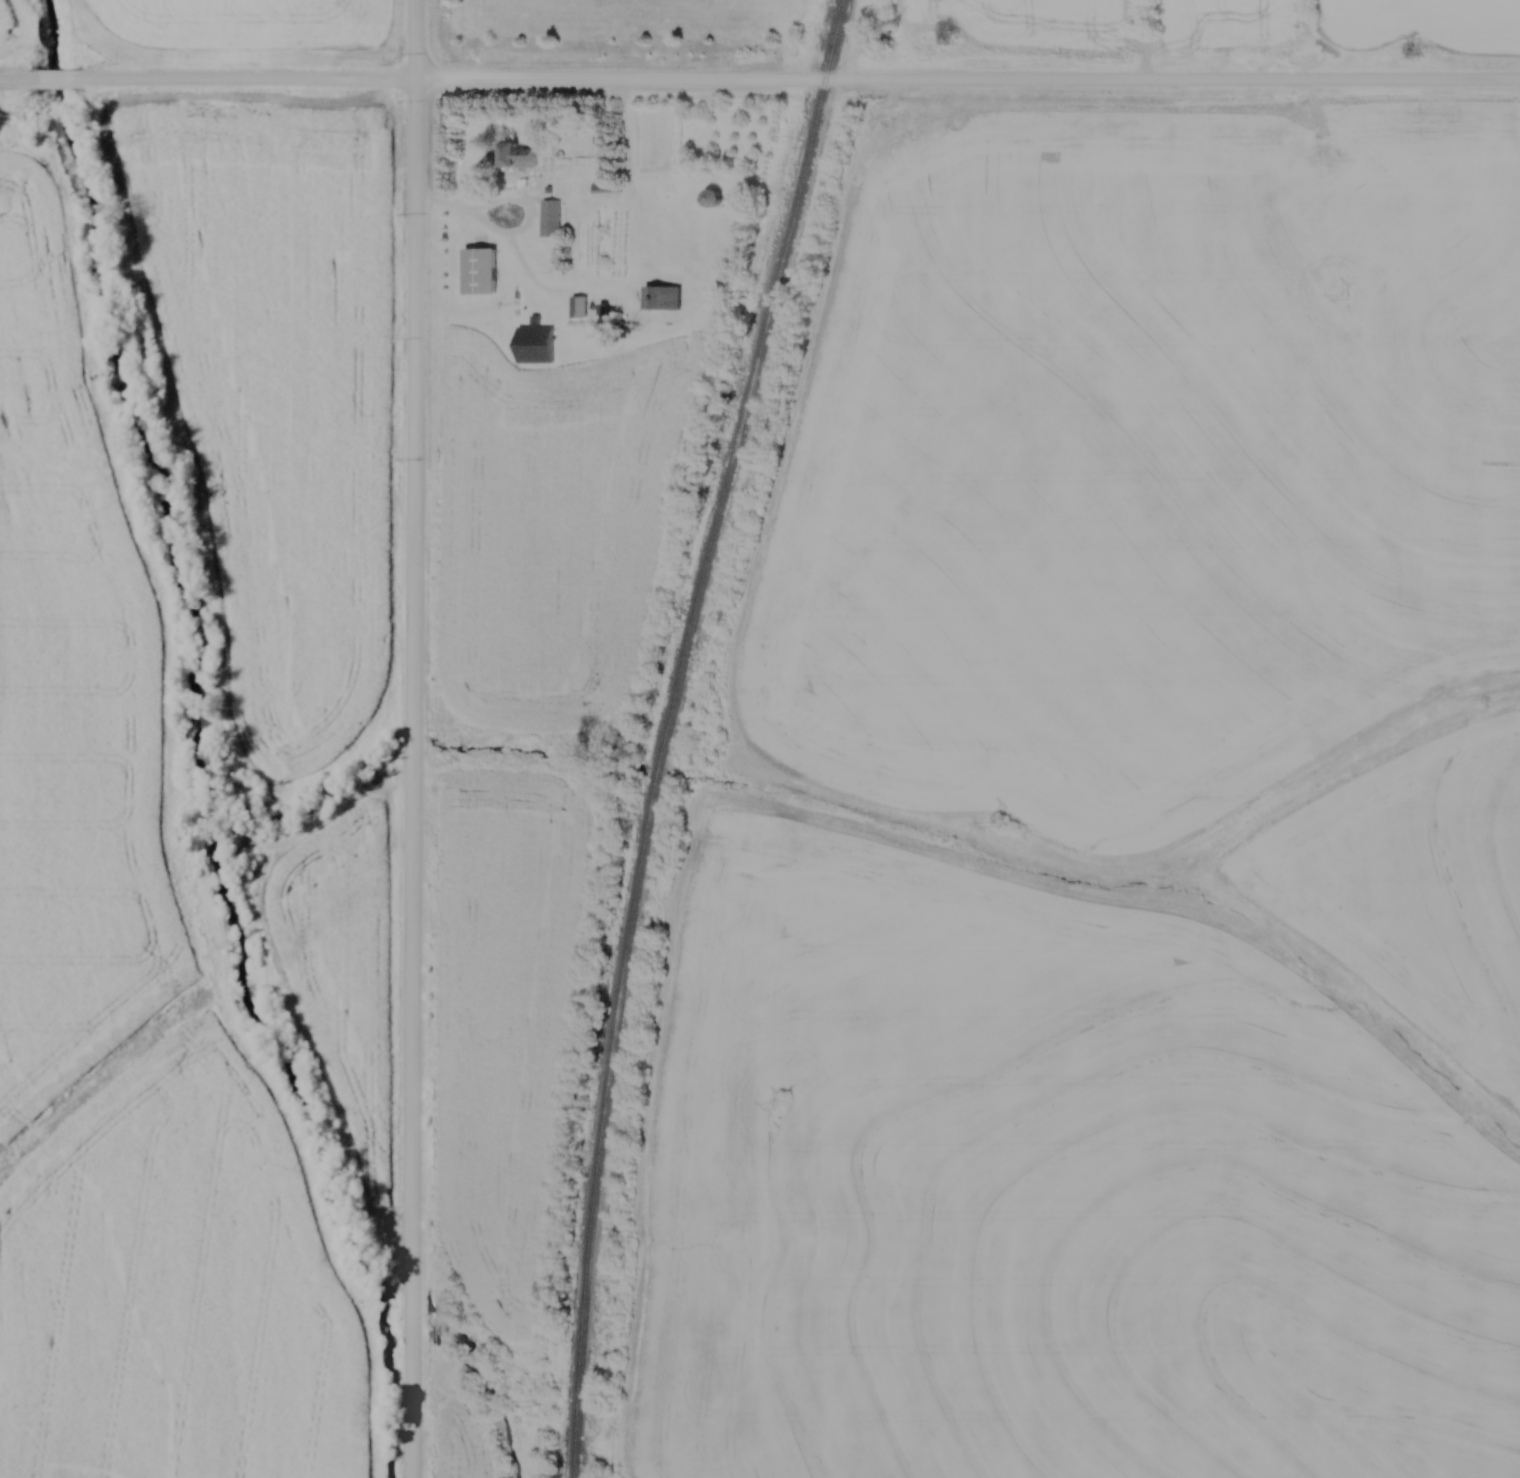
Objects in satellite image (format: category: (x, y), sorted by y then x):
road: (1148, 42)
road: (759, 83)
building: (515, 157)
building: (712, 198)
building: (552, 215)
building: (480, 269)
power tower: (1342, 297)
building: (661, 298)
building: (578, 308)
building: (537, 346)
railway: (673, 732)
road: (417, 739)

